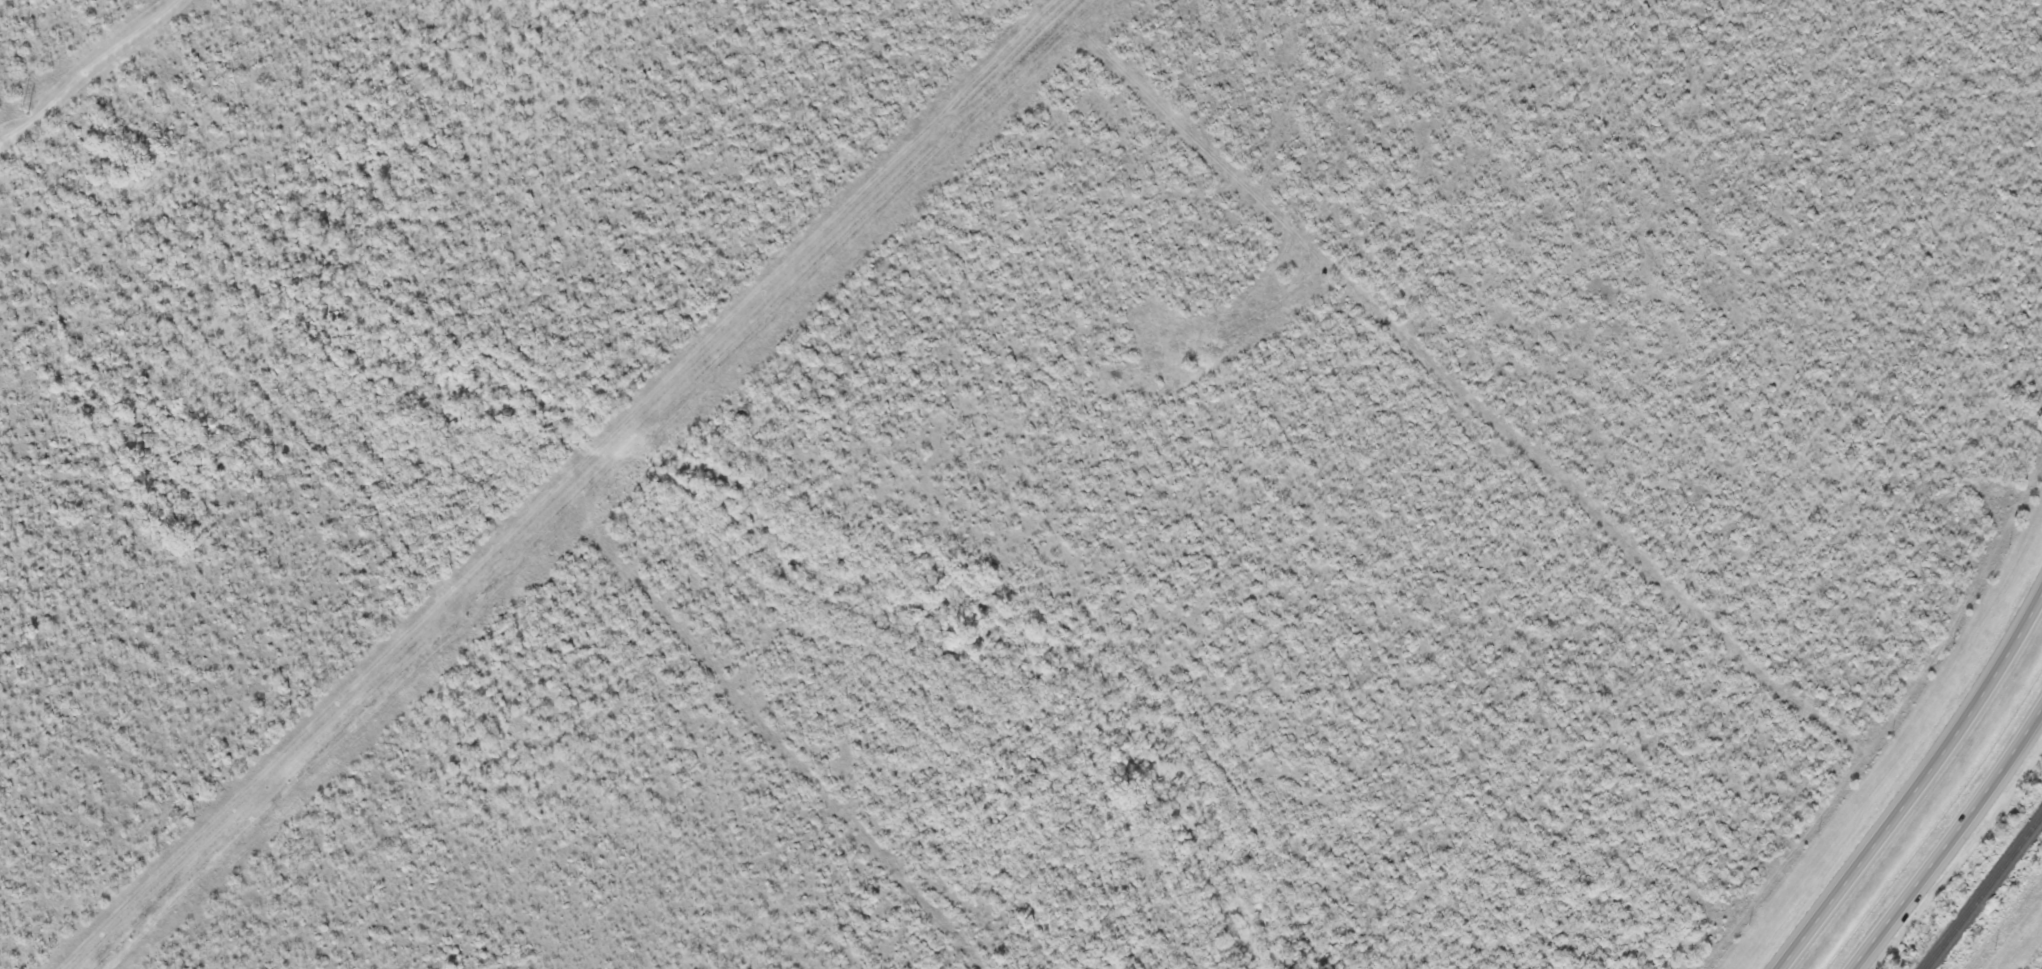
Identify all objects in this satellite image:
power tower: (26, 109)
road: (1920, 788)
road: (1948, 836)
railway: (1982, 891)

